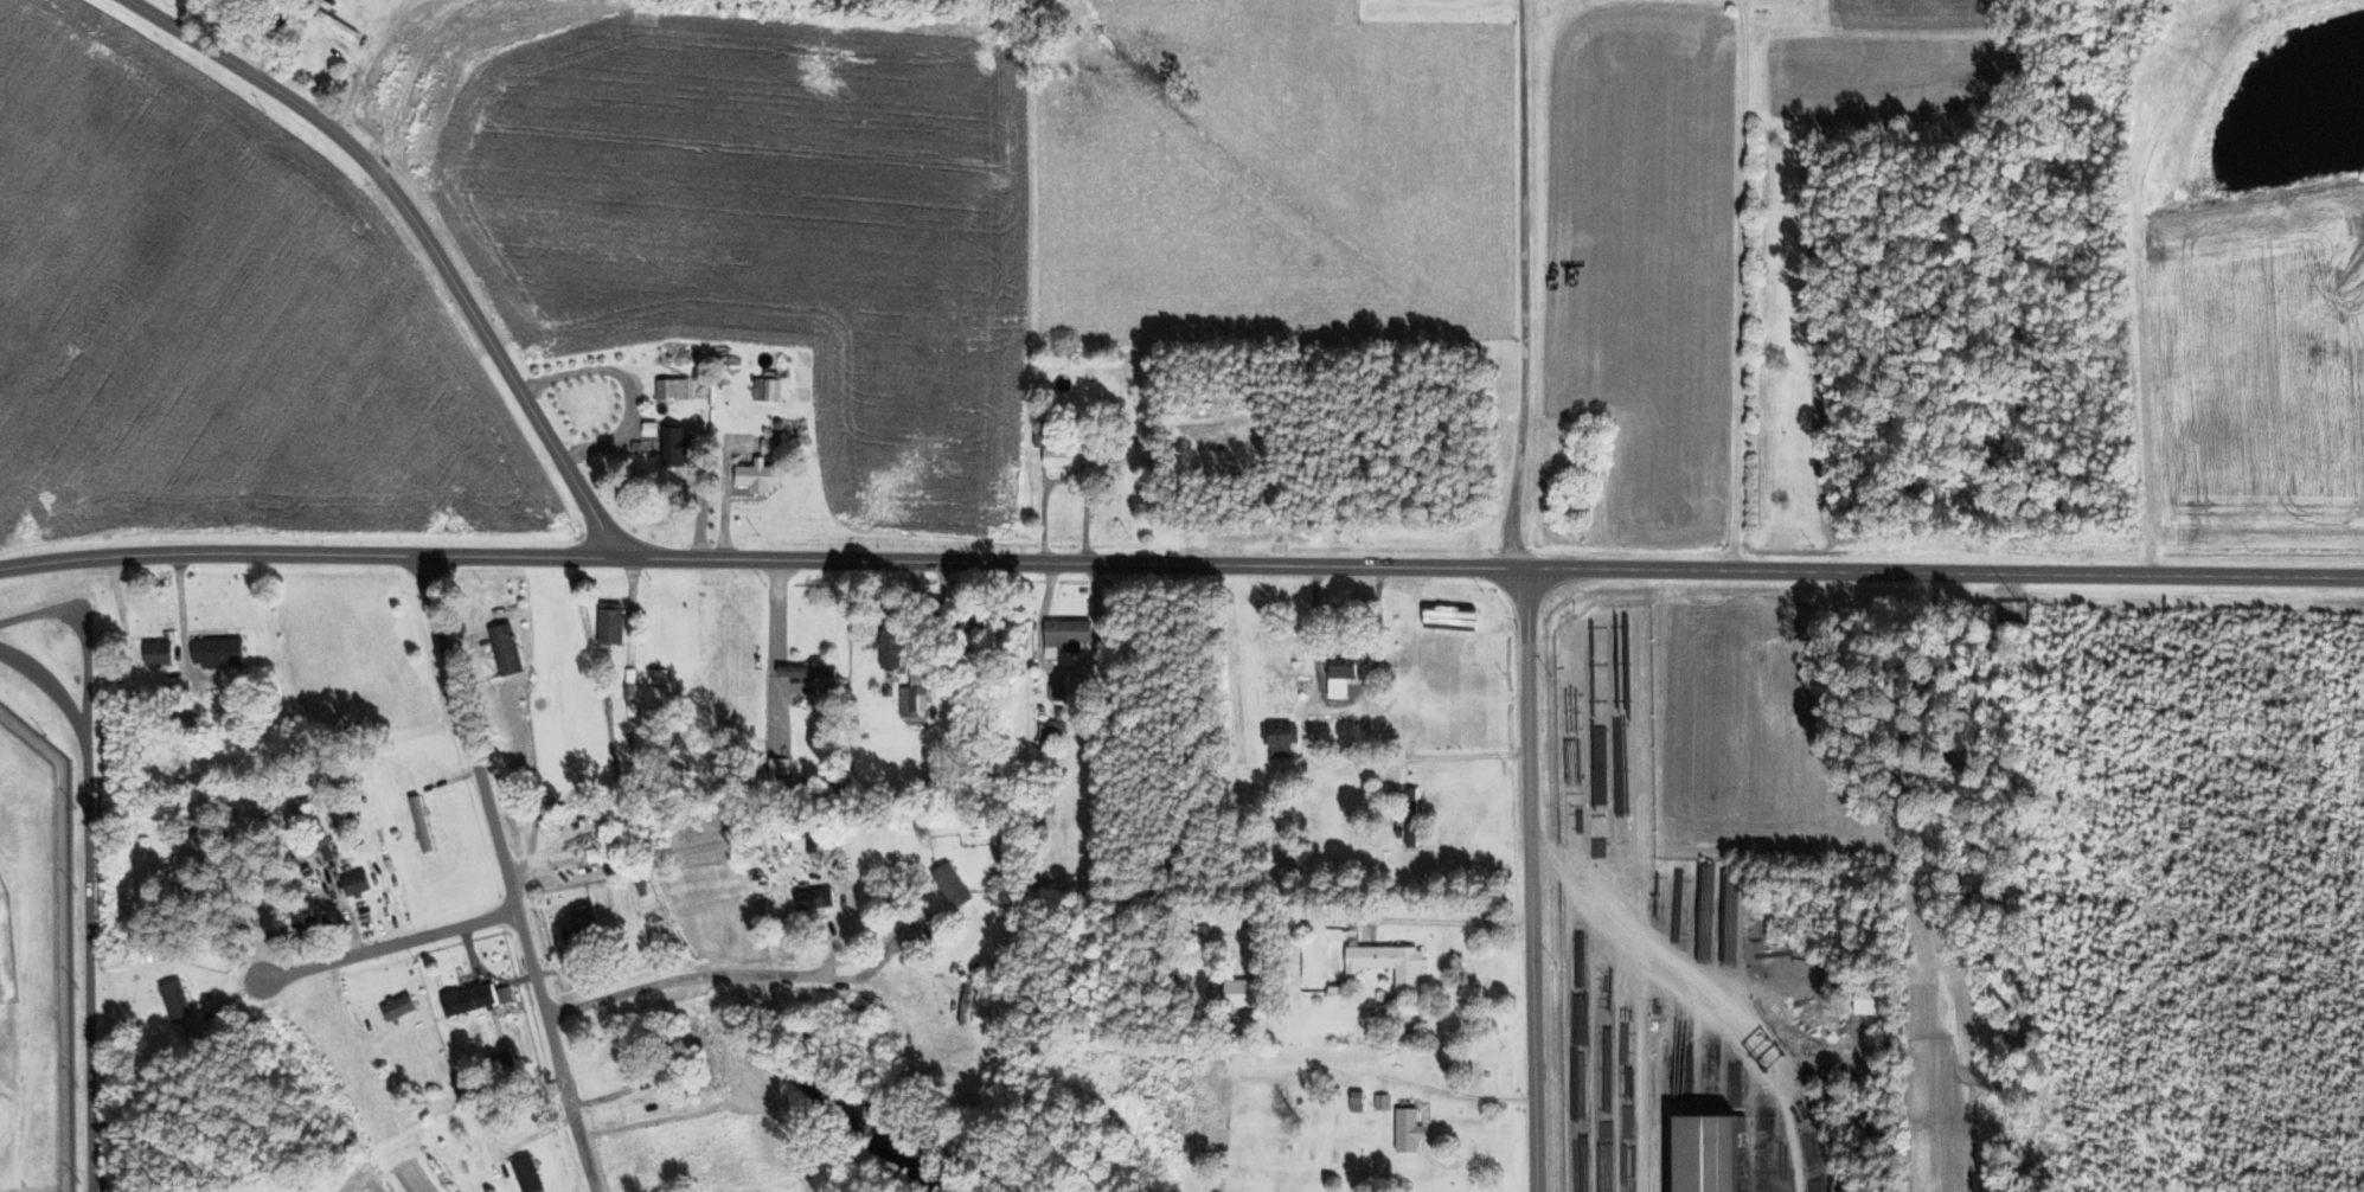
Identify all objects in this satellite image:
building: (338, 26)
road: (367, 63)
road: (418, 231)
road: (1524, 284)
road: (1737, 286)
road: (2139, 310)
building: (768, 387)
building: (674, 389)
building: (1043, 434)
building: (679, 446)
building: (1062, 456)
building: (758, 475)
road: (1181, 572)
building: (610, 624)
building: (1066, 634)
building: (891, 646)
building: (506, 648)
building: (218, 652)
building: (159, 653)
building: (807, 671)
building: (1344, 672)
road: (1065, 674)
building: (1056, 692)
road: (1344, 693)
building: (915, 696)
building: (1056, 729)
building: (1281, 733)
road: (1448, 757)
road: (491, 816)
building: (1411, 816)
building: (598, 853)
road: (1524, 879)
building: (357, 884)
building: (953, 885)
building: (815, 898)
road: (89, 902)
building: (584, 919)
road: (1443, 919)
road: (897, 935)
road: (390, 943)
road: (829, 957)
building: (1390, 963)
road: (704, 976)
building: (1244, 993)
building: (505, 994)
building: (0, 996)
building: (469, 998)
building: (1870, 999)
building: (177, 1001)
building: (398, 1007)
road: (1354, 1071)
building: (1357, 1101)
building: (1383, 1101)
building: (0, 1114)
building: (1409, 1129)
road: (581, 1134)
building: (1711, 1153)
building: (528, 1174)

